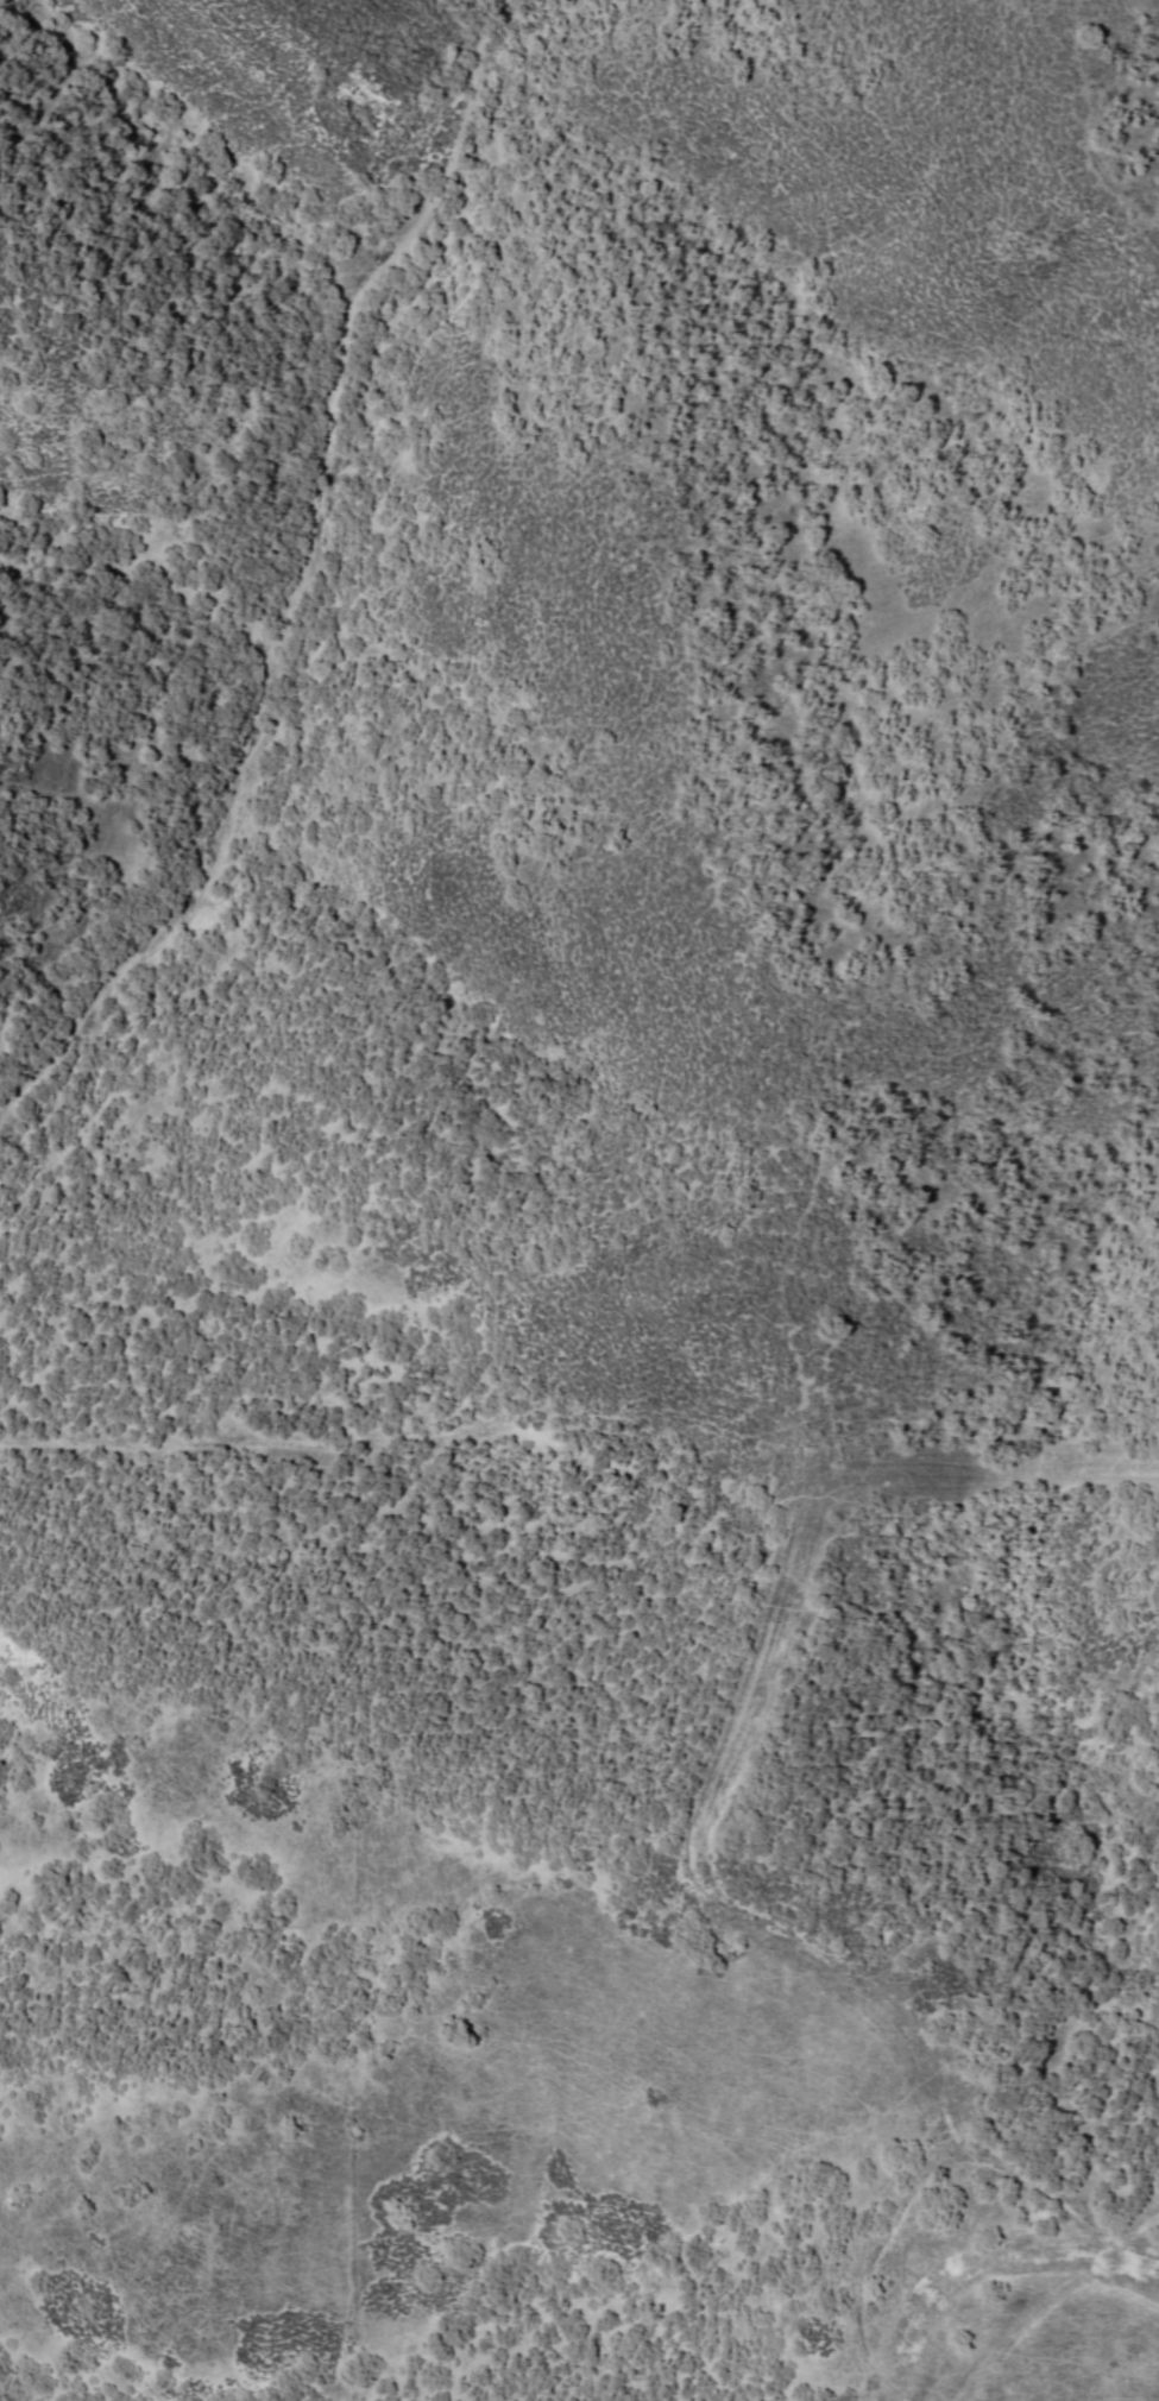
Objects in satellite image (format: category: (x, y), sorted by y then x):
road: (302, 587)
road: (958, 2277)
road: (1048, 2298)

